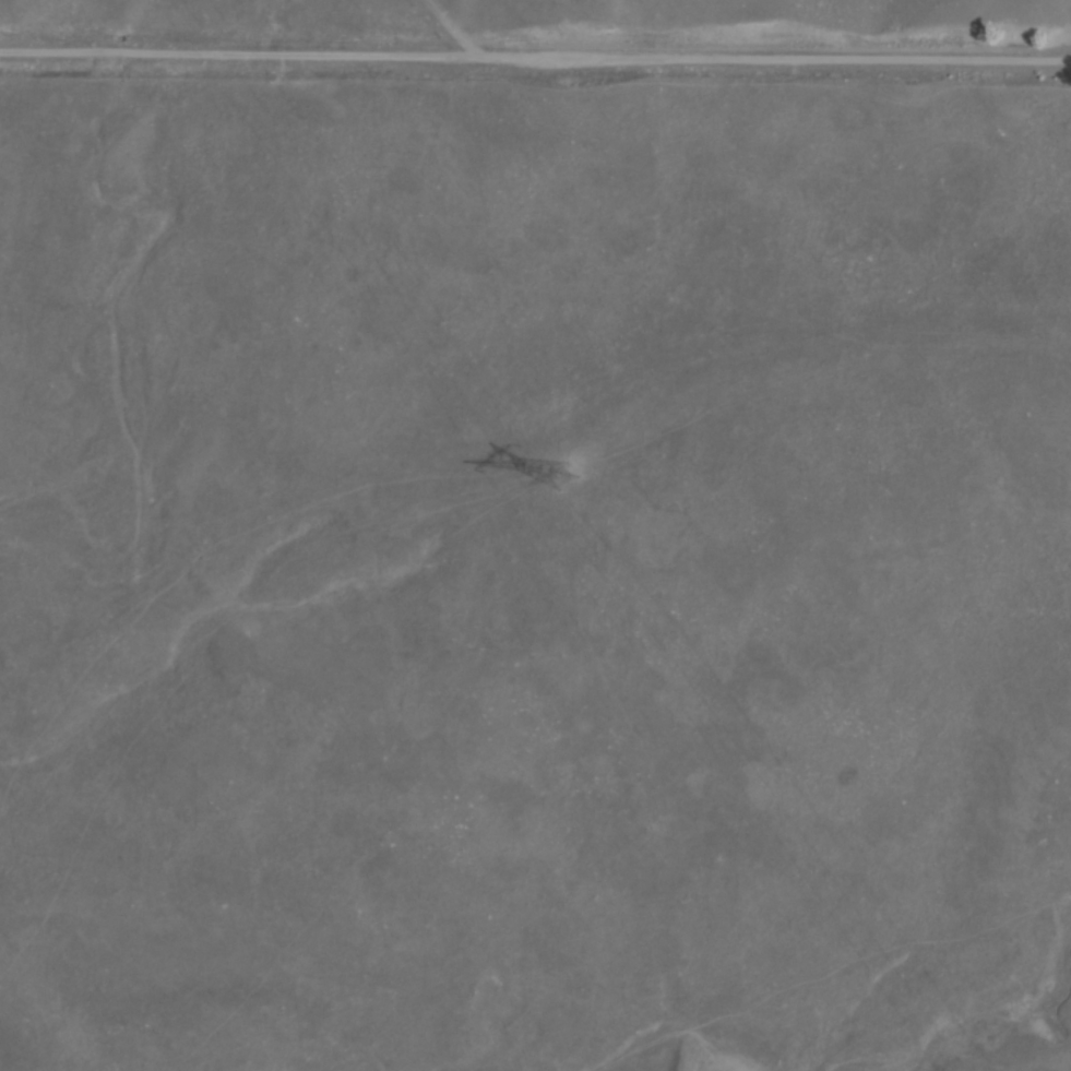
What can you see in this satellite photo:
road: (535, 55)
power tower: (559, 476)

